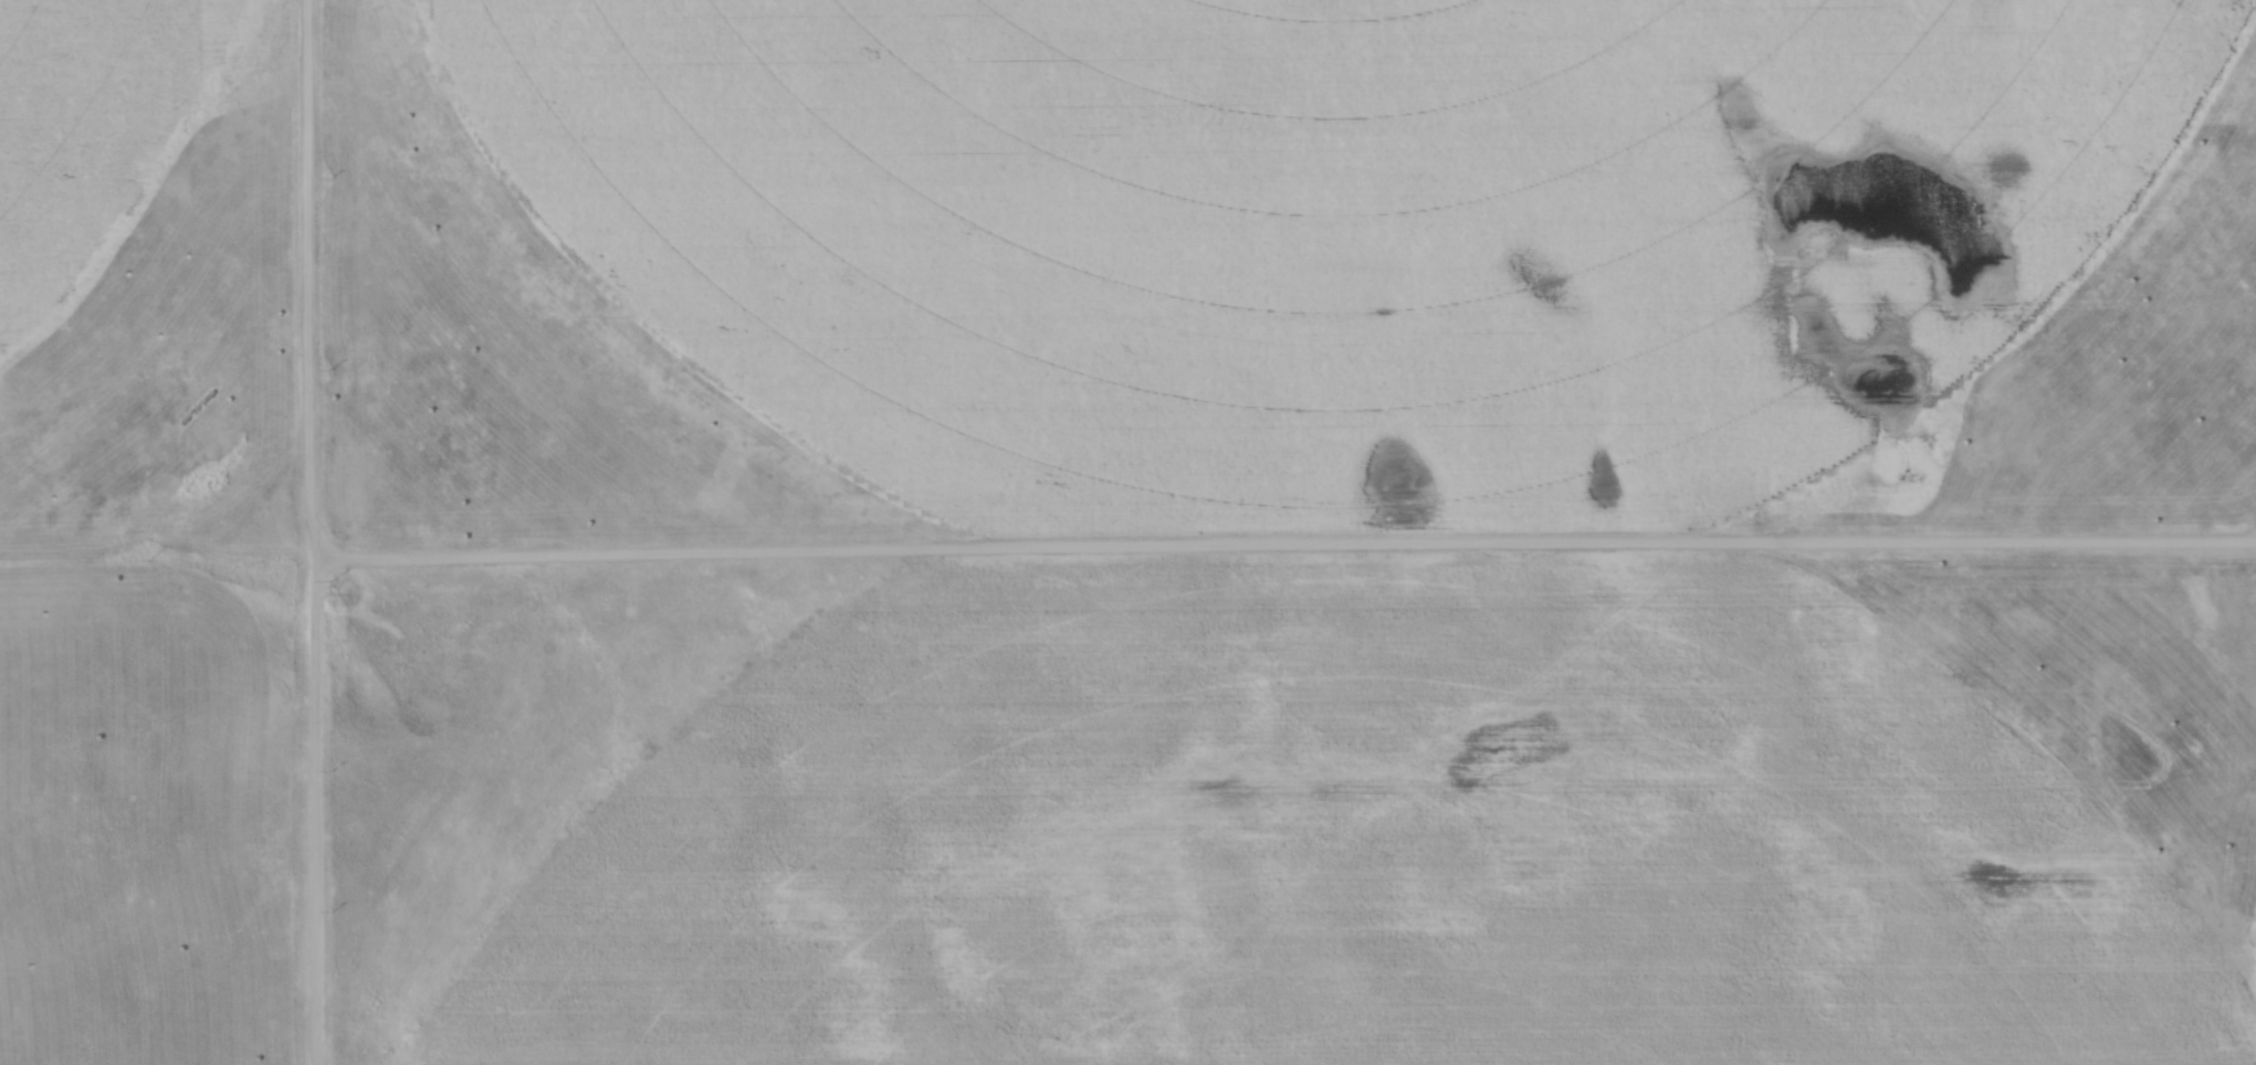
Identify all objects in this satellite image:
road: (313, 531)

